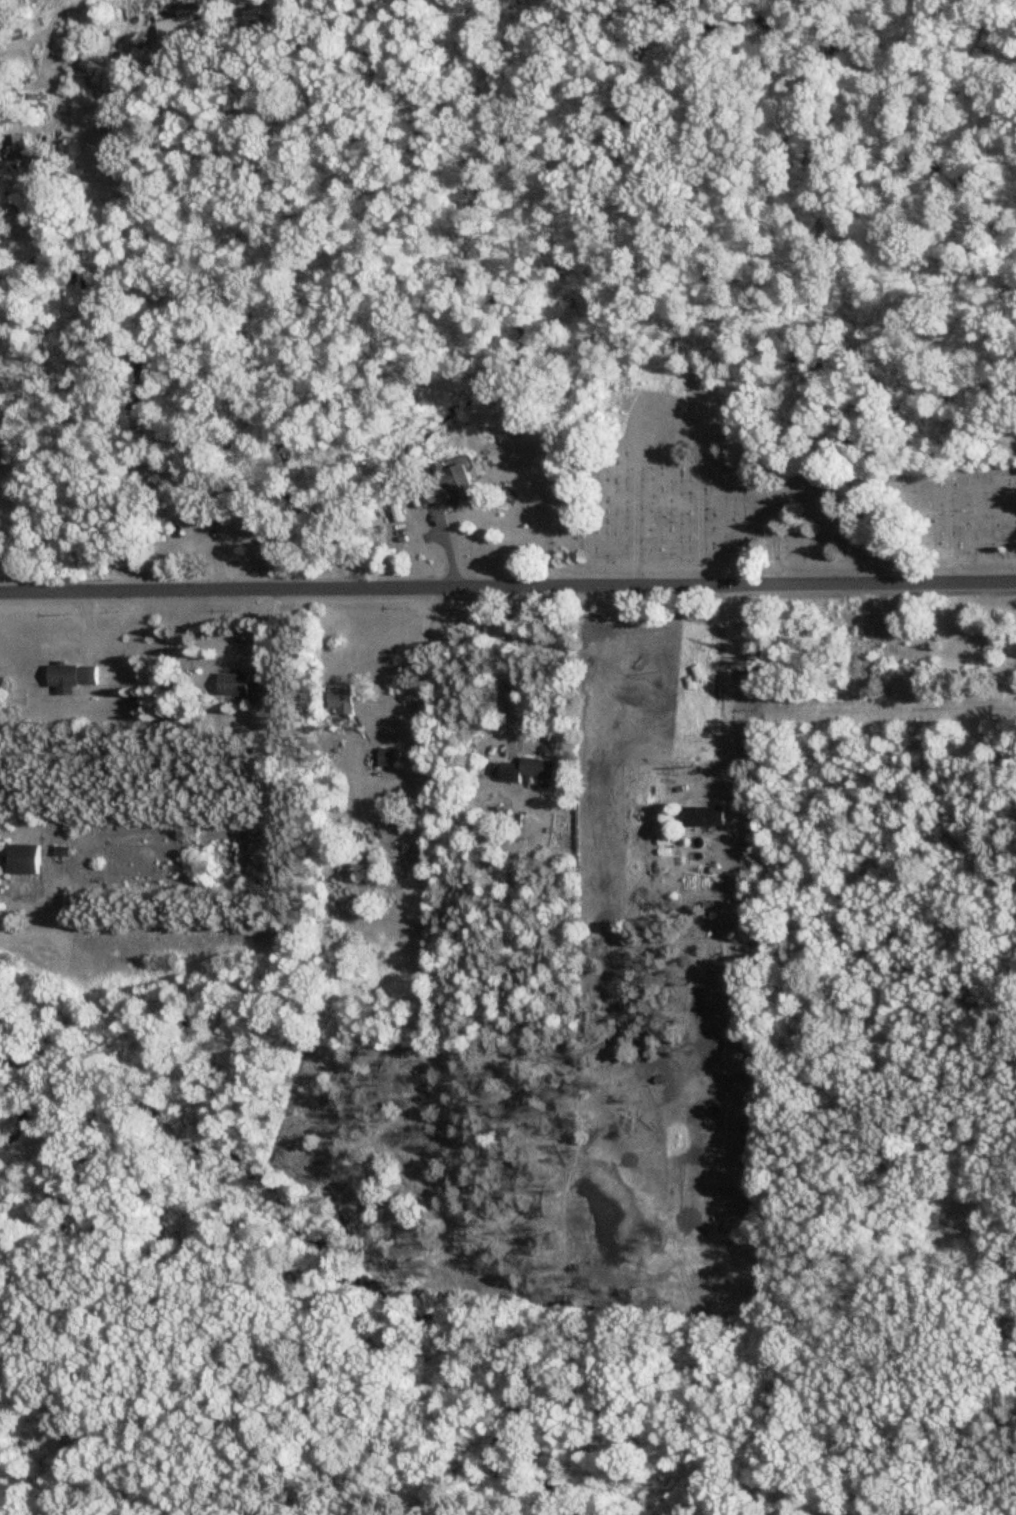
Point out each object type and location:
building: (173, 29)
building: (17, 150)
building: (446, 486)
building: (194, 514)
road: (507, 588)
road: (507, 654)
building: (71, 678)
building: (234, 686)
building: (263, 692)
building: (343, 700)
building: (387, 758)
building: (527, 770)
building: (703, 818)
building: (24, 860)
road: (721, 868)

